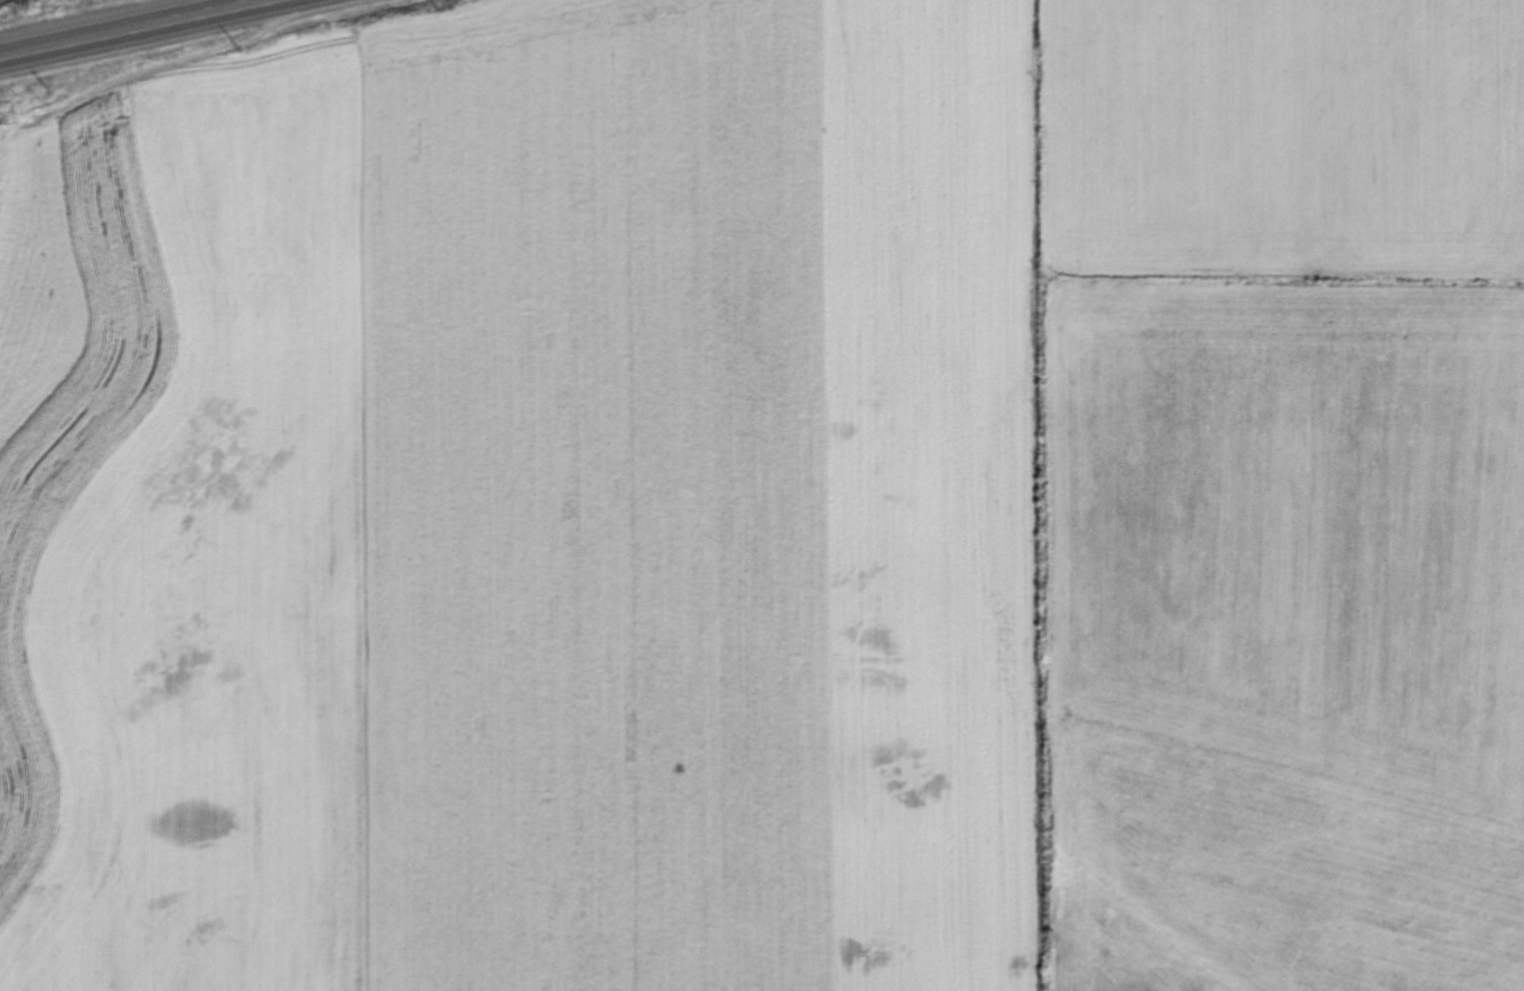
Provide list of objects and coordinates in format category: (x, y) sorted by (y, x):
road: (124, 27)

